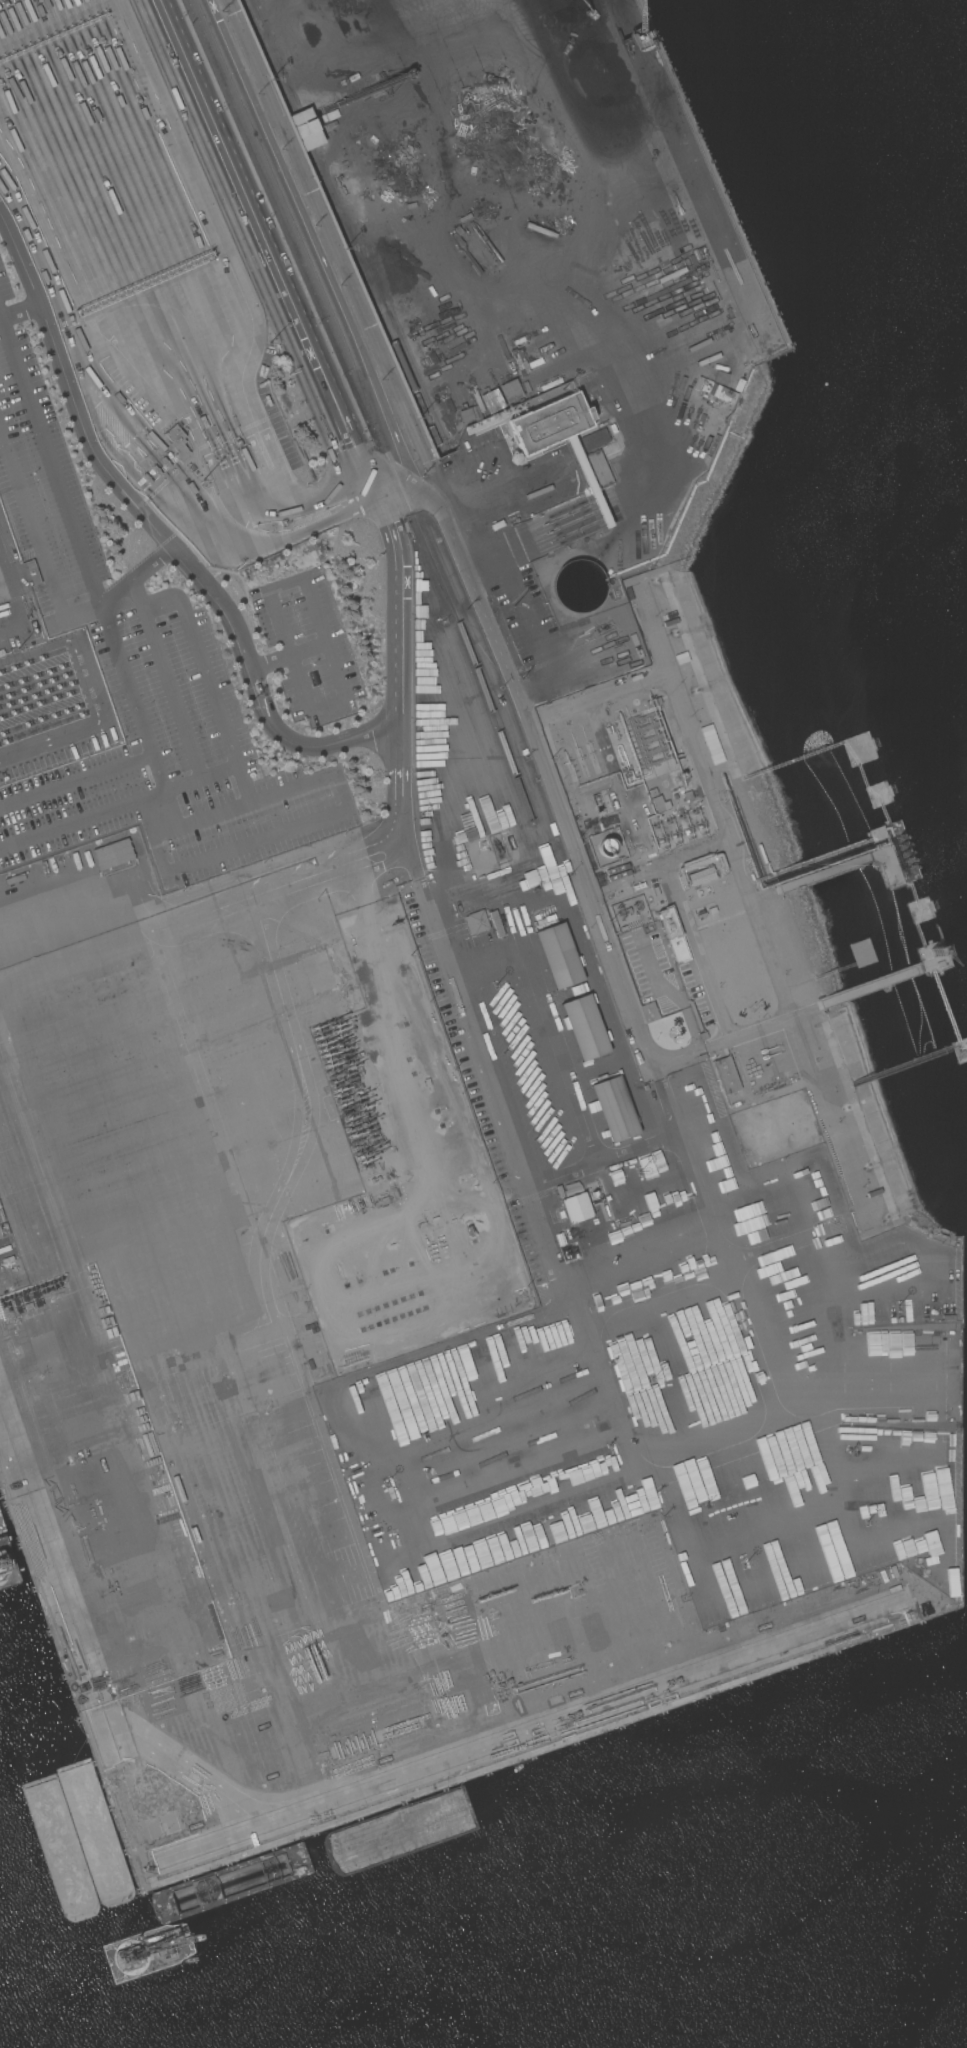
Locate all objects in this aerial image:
railway: (274, 55)
railway: (274, 55)
building: (304, 129)
railway: (340, 207)
railway: (341, 208)
railway: (296, 220)
railway: (353, 225)
railway: (344, 226)
road: (21, 310)
building: (509, 391)
building: (718, 394)
building: (491, 401)
railway: (367, 410)
building: (549, 423)
building: (595, 440)
building: (177, 442)
road: (503, 457)
road: (50, 462)
building: (599, 470)
road: (562, 484)
road: (437, 494)
road: (308, 495)
road: (162, 533)
road: (482, 568)
building: (578, 586)
road: (53, 590)
road: (522, 605)
road: (322, 637)
road: (399, 644)
parking lot: (306, 647)
road: (288, 654)
road: (203, 667)
road: (633, 682)
road: (171, 693)
parking lot: (176, 769)
road: (75, 780)
road: (161, 785)
road: (551, 801)
building: (658, 804)
road: (119, 806)
road: (243, 806)
building: (874, 833)
road: (271, 834)
road: (153, 835)
building: (607, 847)
building: (112, 854)
building: (701, 876)
road: (201, 886)
road: (221, 908)
road: (750, 912)
building: (476, 922)
building: (673, 934)
building: (559, 956)
road: (390, 1023)
building: (585, 1028)
road: (551, 1056)
building: (726, 1076)
building: (614, 1109)
building: (575, 1204)

